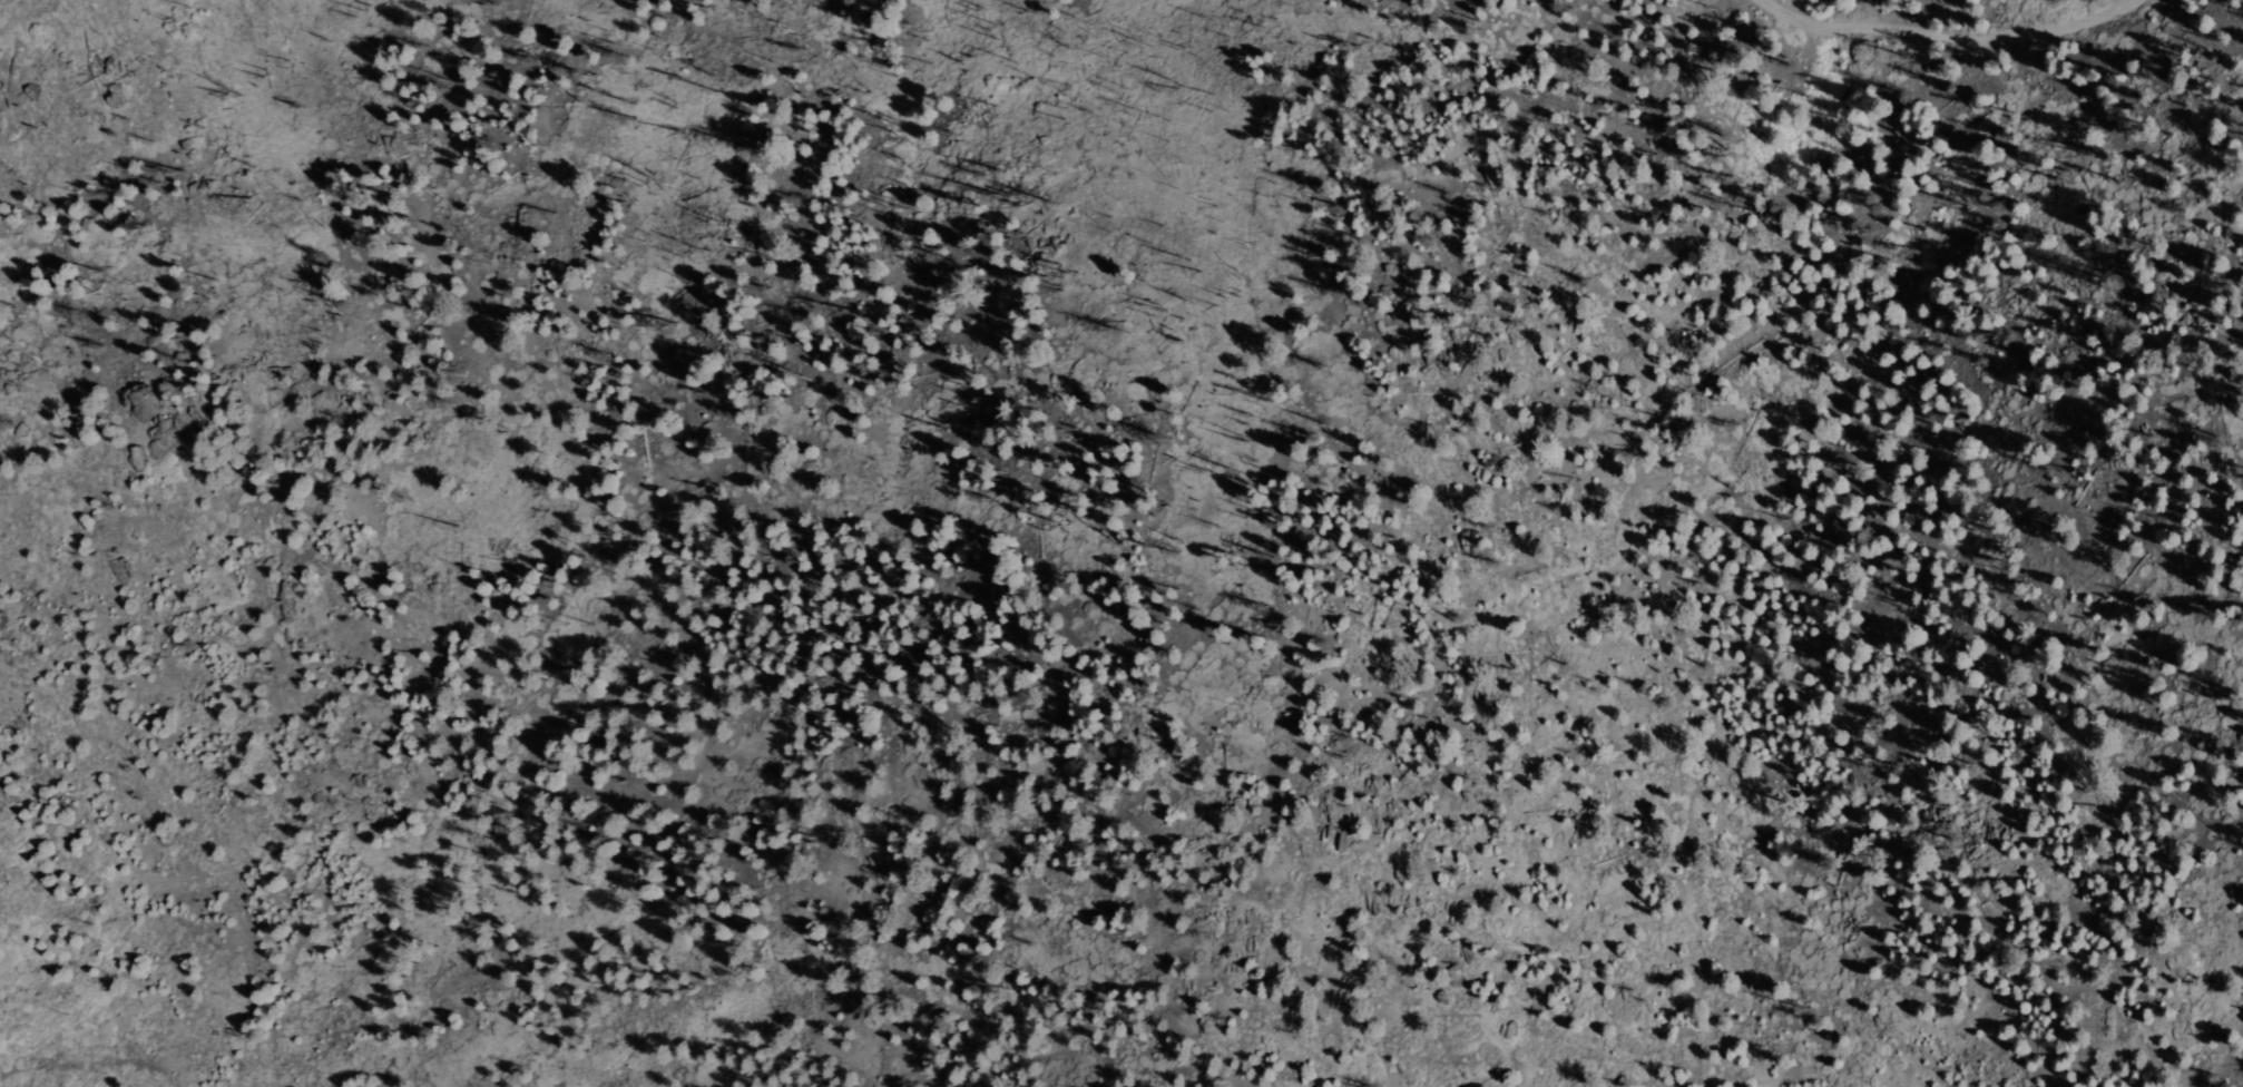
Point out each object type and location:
road: (1963, 30)

